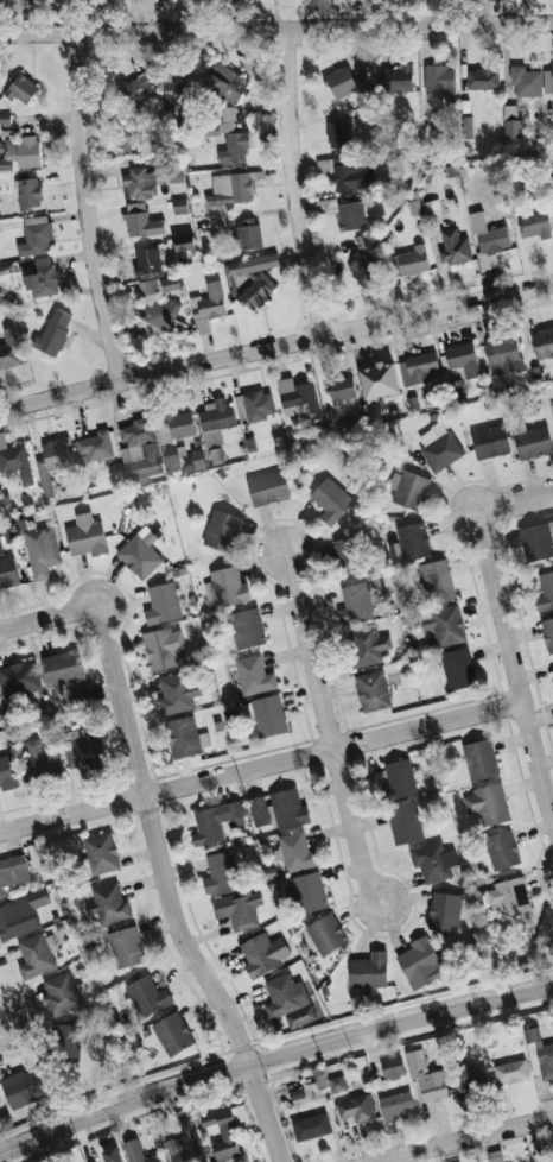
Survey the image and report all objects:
building: (318, 2)
road: (275, 27)
building: (396, 77)
building: (482, 78)
building: (439, 80)
building: (348, 81)
building: (548, 81)
building: (225, 82)
building: (526, 82)
building: (179, 88)
building: (23, 89)
building: (133, 89)
building: (5, 118)
building: (227, 119)
building: (339, 134)
building: (132, 140)
building: (234, 146)
building: (1, 147)
building: (21, 152)
building: (548, 169)
building: (348, 172)
road: (292, 182)
building: (139, 183)
building: (230, 188)
building: (28, 192)
building: (179, 204)
building: (415, 207)
road: (85, 208)
building: (432, 208)
building: (348, 214)
building: (141, 221)
building: (535, 225)
building: (247, 234)
building: (36, 235)
building: (362, 240)
building: (488, 240)
building: (453, 247)
building: (148, 260)
building: (411, 260)
building: (0, 263)
building: (252, 264)
building: (363, 269)
building: (44, 279)
building: (170, 283)
building: (150, 285)
building: (256, 291)
building: (208, 307)
building: (164, 312)
building: (53, 331)
building: (542, 342)
road: (275, 345)
building: (9, 348)
building: (503, 354)
building: (463, 358)
building: (417, 367)
building: (379, 379)
building: (548, 389)
building: (339, 390)
building: (297, 397)
building: (254, 405)
building: (373, 413)
building: (216, 419)
building: (174, 434)
building: (490, 441)
building: (94, 446)
building: (439, 447)
building: (139, 450)
building: (14, 460)
building: (52, 461)
building: (268, 487)
building: (408, 488)
building: (331, 500)
road: (516, 500)
building: (222, 529)
building: (87, 535)
building: (536, 539)
building: (409, 542)
building: (42, 550)
building: (344, 550)
building: (140, 552)
building: (7, 570)
building: (437, 580)
building: (225, 587)
building: (545, 592)
building: (355, 602)
building: (163, 604)
road: (50, 617)
building: (444, 623)
building: (247, 627)
building: (548, 633)
building: (367, 645)
building: (163, 648)
road: (516, 665)
building: (63, 668)
building: (458, 669)
building: (254, 675)
building: (19, 678)
building: (373, 690)
building: (178, 691)
building: (267, 715)
road: (329, 728)
building: (183, 737)
building: (82, 747)
building: (39, 758)
building: (481, 759)
road: (261, 765)
building: (7, 772)
building: (399, 779)
building: (487, 804)
building: (288, 808)
building: (259, 810)
building: (216, 821)
building: (405, 823)
building: (502, 850)
building: (297, 852)
building: (102, 853)
building: (434, 861)
building: (12, 872)
building: (221, 872)
road: (171, 891)
building: (310, 892)
building: (510, 896)
building: (109, 904)
building: (239, 908)
building: (445, 911)
building: (20, 915)
building: (546, 924)
building: (326, 934)
building: (126, 947)
building: (263, 954)
building: (37, 955)
building: (421, 962)
building: (370, 971)
building: (61, 994)
building: (147, 996)
building: (290, 1000)
road: (1, 1017)
building: (173, 1034)
building: (68, 1042)
building: (539, 1054)
road: (272, 1060)
building: (393, 1067)
building: (511, 1072)
building: (427, 1078)
building: (471, 1080)
building: (337, 1084)
building: (23, 1087)
building: (395, 1107)
building: (356, 1109)
building: (311, 1126)
building: (225, 1131)
road: (475, 1141)
building: (186, 1144)
building: (139, 1152)
building: (113, 1155)
building: (496, 1156)
building: (544, 1160)

